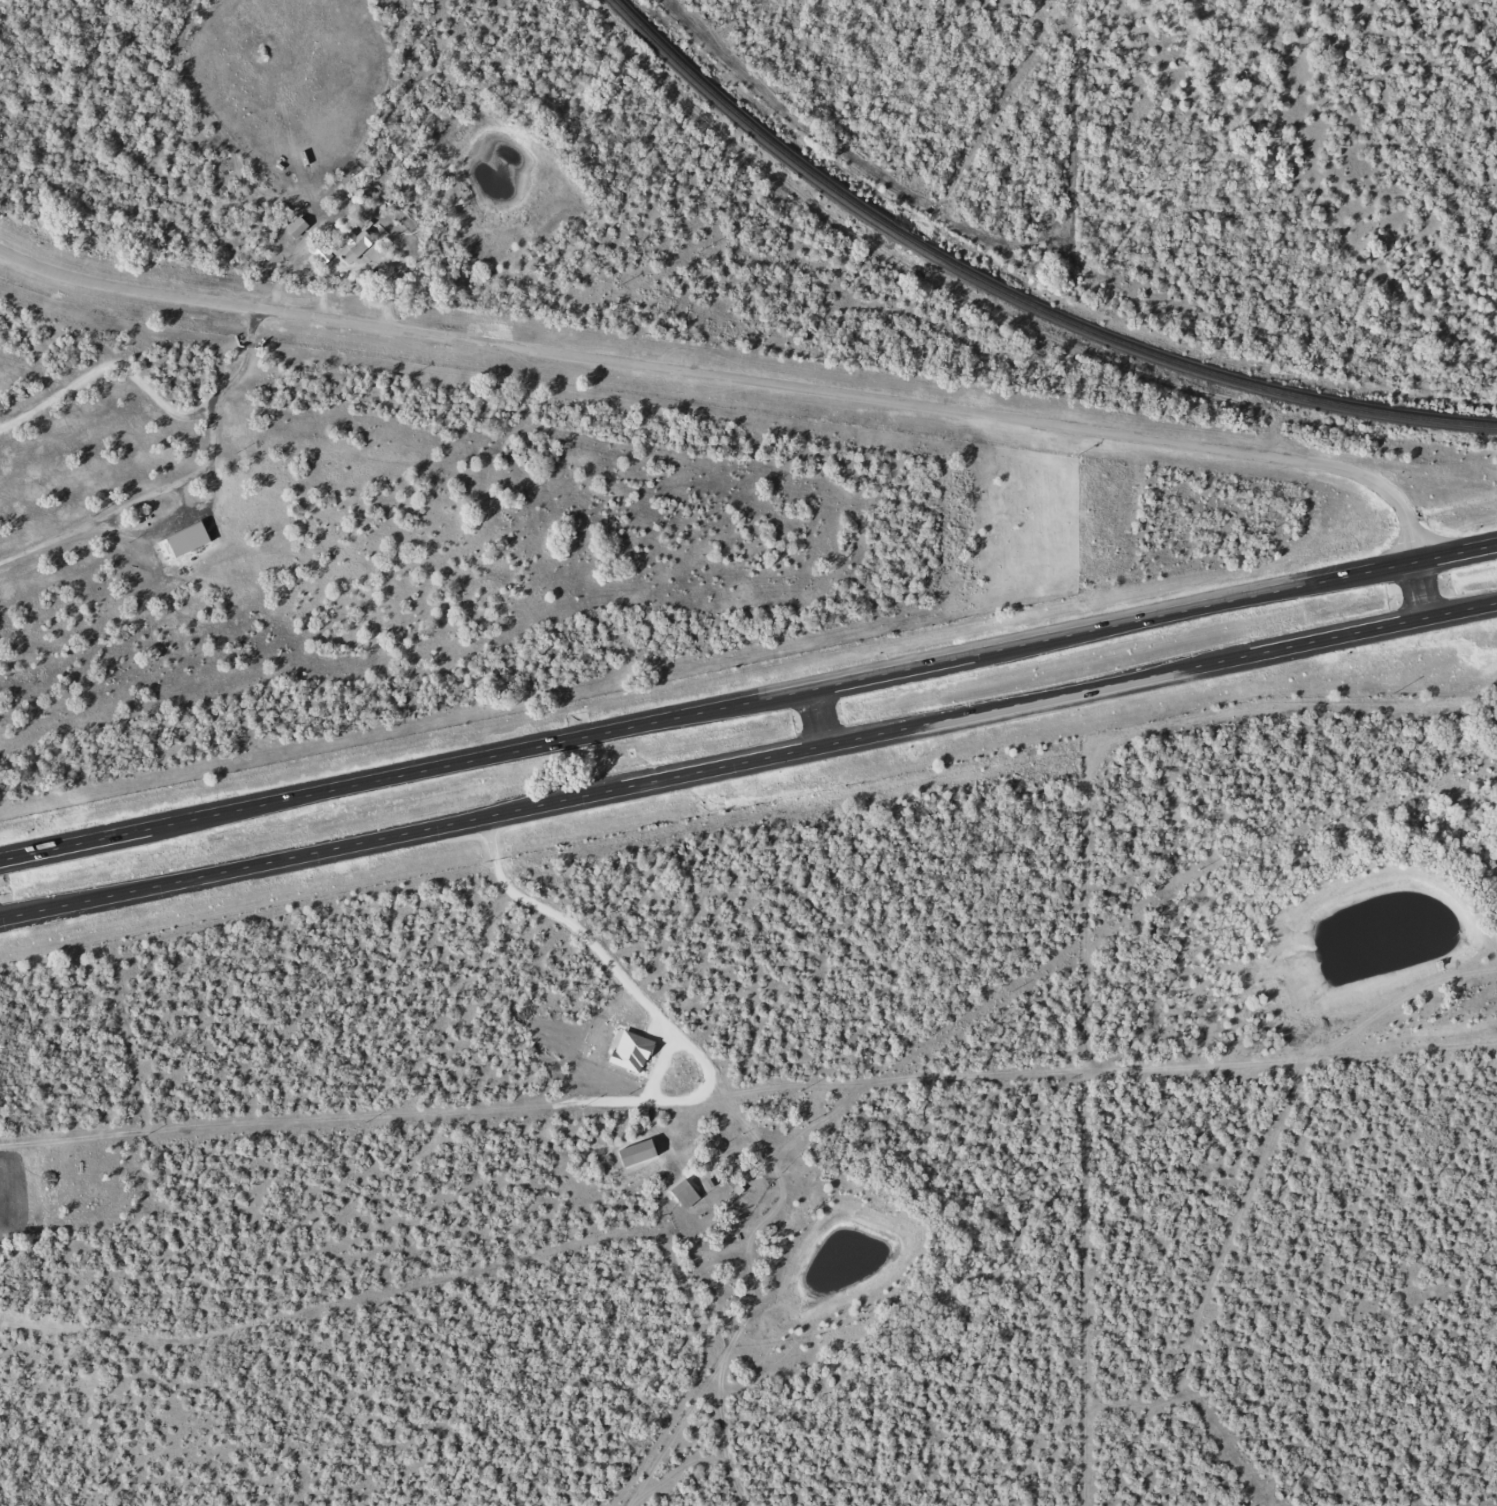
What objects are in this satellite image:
building: (298, 227)
building: (347, 248)
railway: (1016, 296)
road: (762, 382)
building: (185, 541)
road: (748, 701)
road: (823, 715)
road: (748, 760)
building: (640, 1153)
building: (686, 1193)

